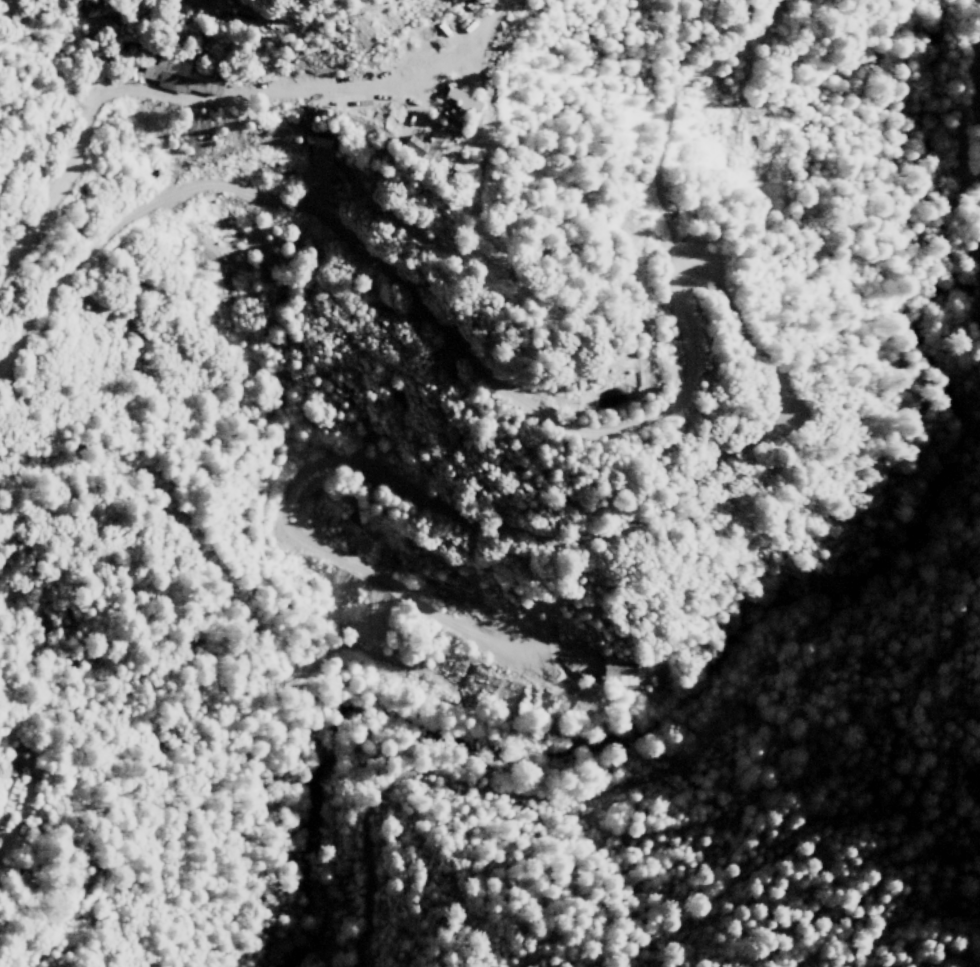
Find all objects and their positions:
building: (98, 9)
building: (176, 77)
road: (979, 77)
road: (112, 99)
building: (458, 111)
building: (424, 144)
building: (317, 170)
road: (447, 336)
building: (617, 669)

